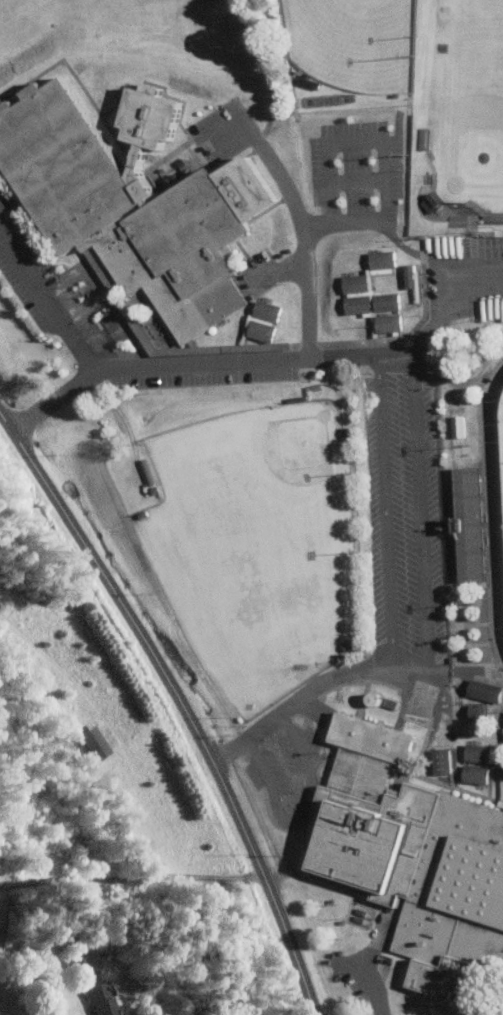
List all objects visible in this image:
park: (353, 41)
road: (266, 71)
park: (463, 99)
road: (226, 130)
parking lot: (221, 132)
road: (385, 156)
parking lot: (353, 177)
building: (131, 202)
building: (381, 259)
parking lot: (27, 270)
parking lot: (465, 273)
building: (355, 283)
road: (46, 300)
building: (387, 301)
building: (357, 304)
building: (262, 310)
building: (388, 323)
building: (258, 331)
road: (306, 339)
road: (422, 341)
parking lot: (204, 371)
road: (52, 401)
building: (455, 426)
park: (500, 455)
park: (269, 487)
track: (493, 504)
road: (420, 507)
road: (384, 508)
parking lot: (405, 510)
park: (237, 544)
road: (312, 687)
building: (484, 691)
road: (183, 698)
building: (477, 713)
road: (296, 740)
building: (93, 742)
parking lot: (299, 750)
building: (477, 754)
building: (440, 762)
road: (260, 766)
parking lot: (266, 771)
building: (474, 774)
road: (299, 818)
building: (412, 856)
road: (133, 877)
road: (202, 960)
road: (372, 985)
building: (96, 998)

